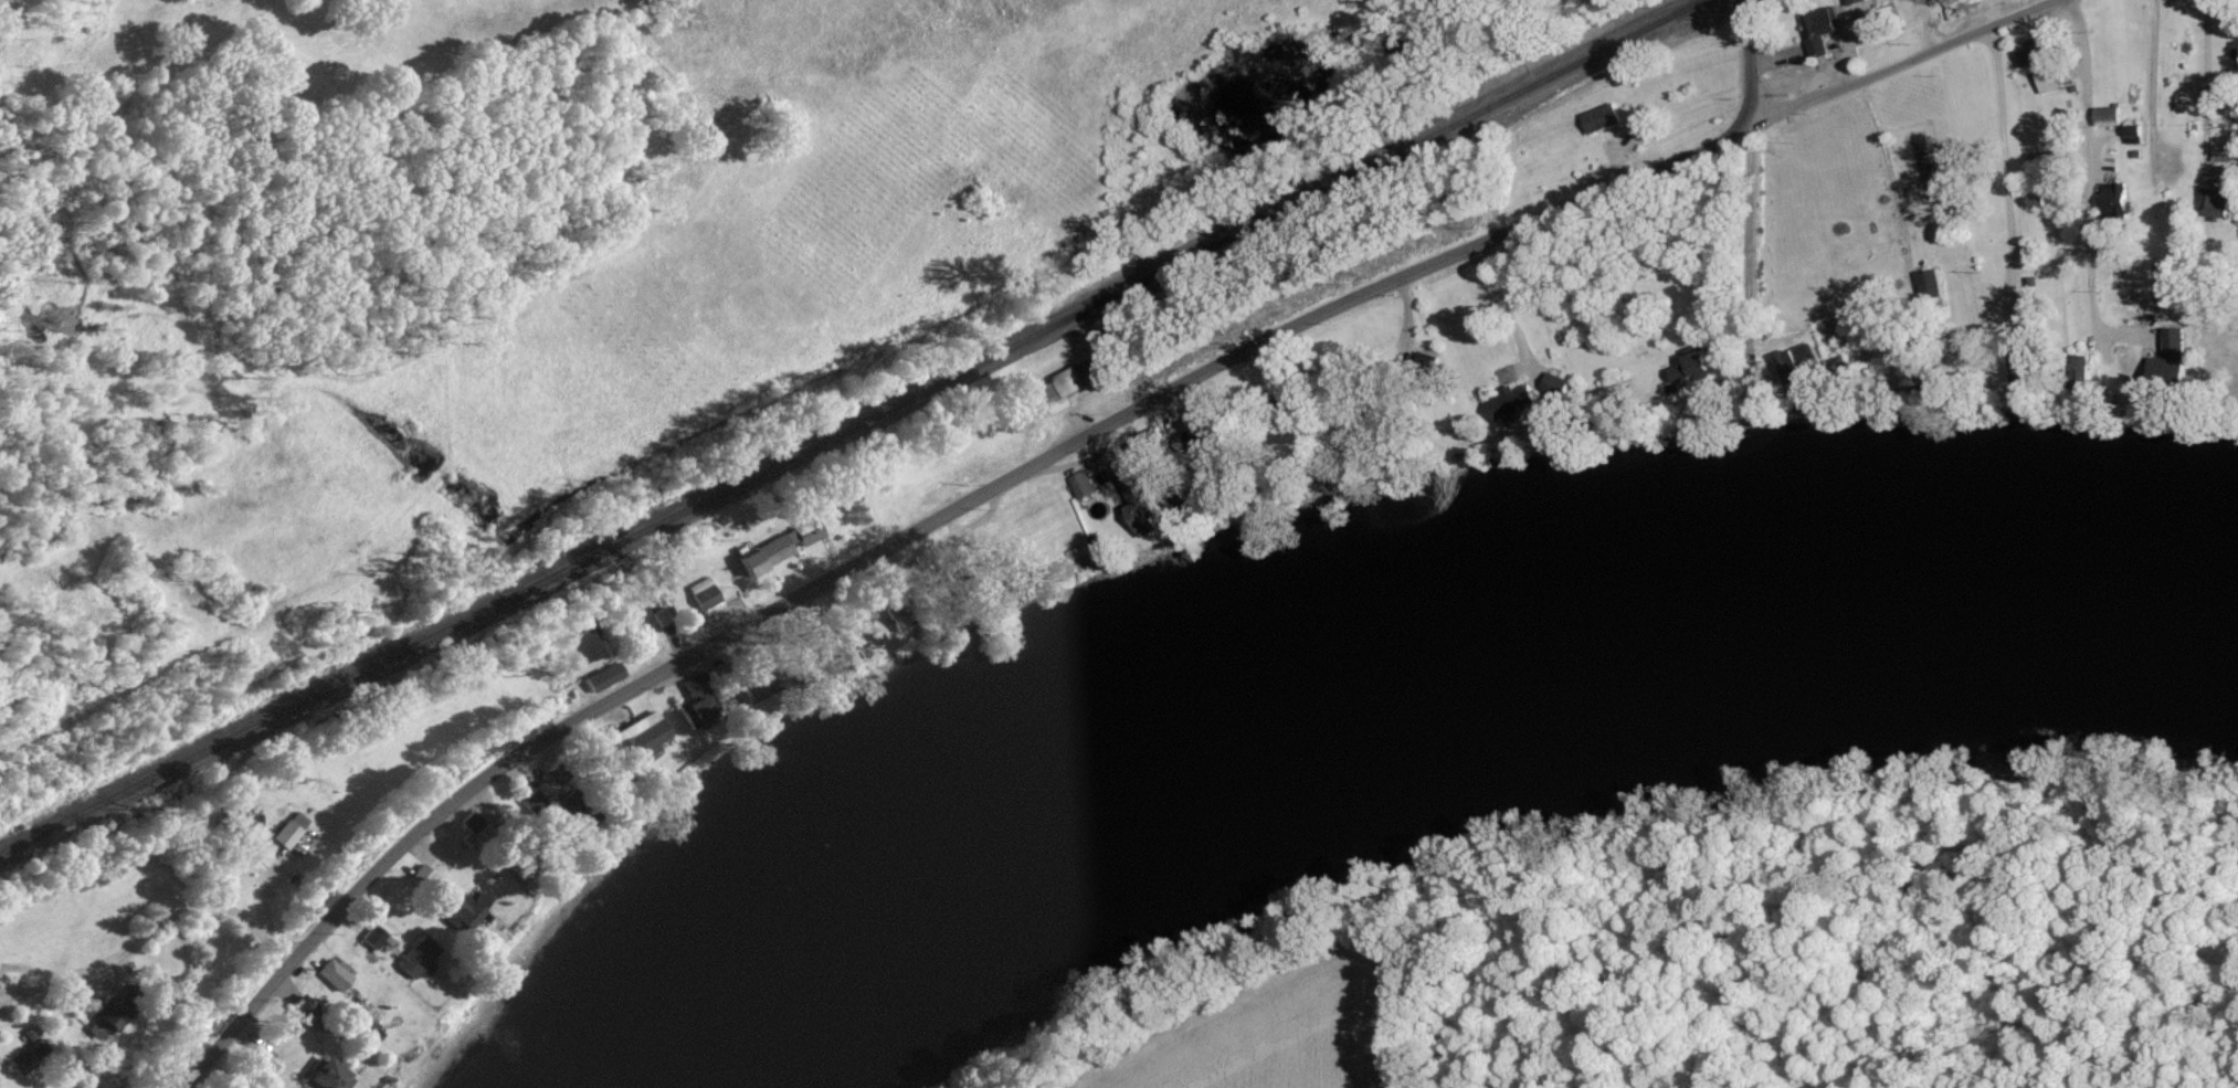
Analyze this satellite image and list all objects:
building: (1855, 1)
building: (1819, 28)
building: (2035, 53)
road: (1906, 63)
building: (2049, 82)
road: (2156, 83)
road: (2211, 86)
building: (2108, 116)
building: (1601, 117)
building: (1643, 127)
building: (2134, 134)
road: (2089, 178)
road: (1896, 184)
road: (2009, 186)
road: (1751, 188)
building: (2115, 199)
building: (2038, 200)
building: (2215, 202)
road: (1489, 246)
building: (1931, 281)
road: (1511, 314)
building: (2019, 330)
building: (2171, 360)
building: (2021, 361)
building: (1693, 365)
building: (1801, 366)
building: (2081, 371)
building: (1555, 383)
building: (1931, 384)
building: (1059, 390)
building: (1614, 393)
building: (1511, 403)
building: (1205, 441)
railway: (864, 448)
building: (1081, 484)
building: (1138, 500)
building: (780, 546)
building: (703, 593)
building: (661, 616)
river: (1389, 664)
road: (663, 667)
building: (603, 676)
building: (697, 700)
building: (638, 738)
building: (555, 774)
building: (551, 806)
building: (246, 823)
building: (473, 824)
building: (289, 830)
building: (423, 878)
road: (191, 905)
building: (467, 908)
building: (374, 937)
building: (416, 958)
building: (332, 974)
road: (1426, 992)
building: (300, 1006)
building: (104, 1022)
building: (360, 1032)
building: (27, 1036)
building: (34, 1053)
building: (327, 1076)

